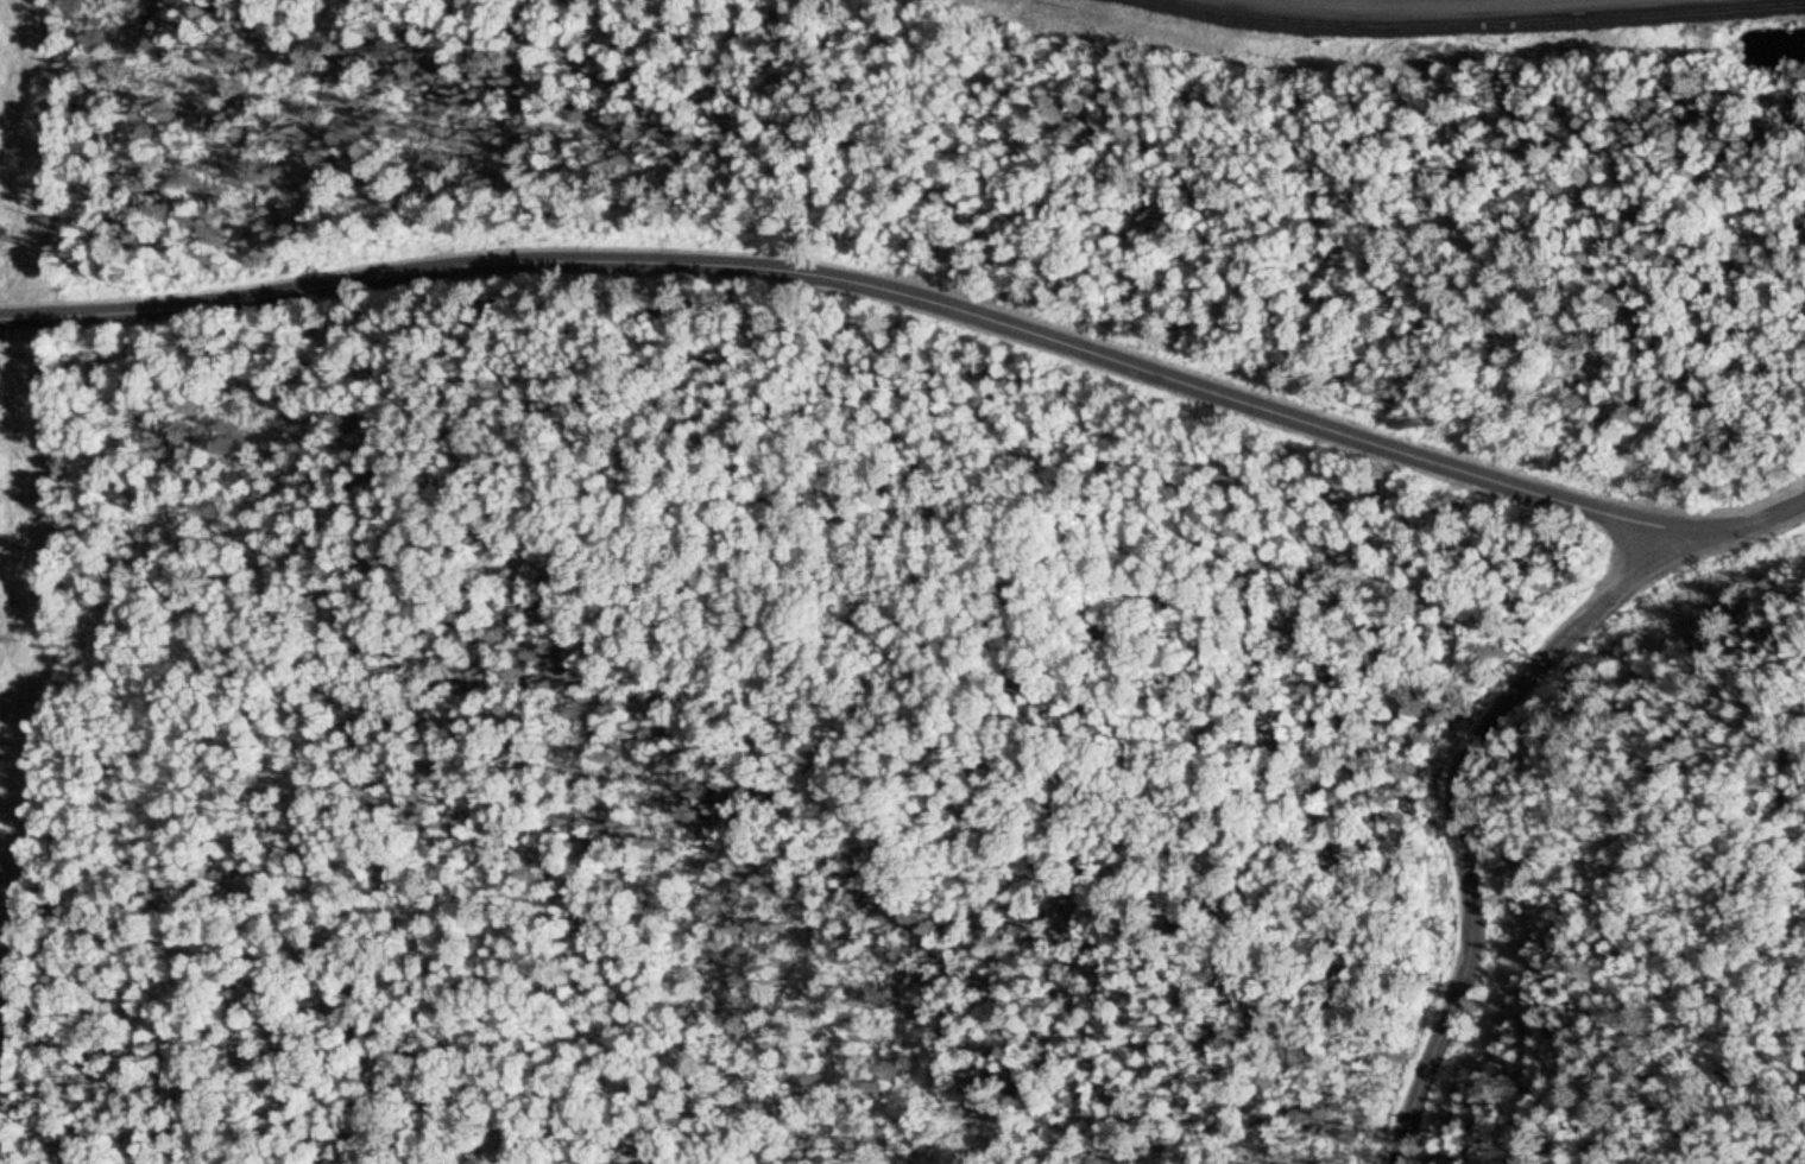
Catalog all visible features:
road: (1365, 50)
road: (858, 273)
road: (1475, 751)

